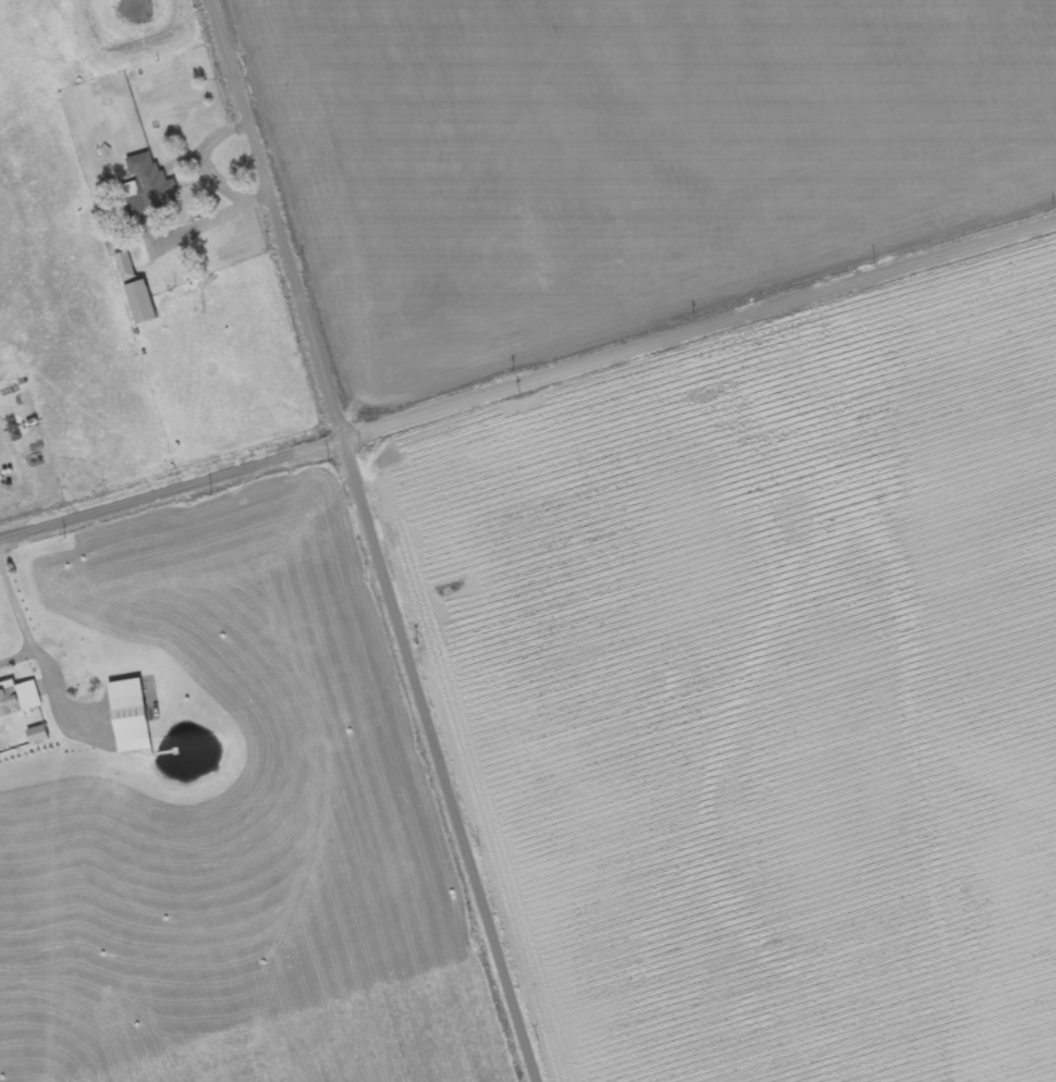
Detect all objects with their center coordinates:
building: (149, 194)
building: (136, 294)
road: (528, 378)
road: (378, 541)
building: (19, 700)
building: (130, 721)
building: (37, 737)

